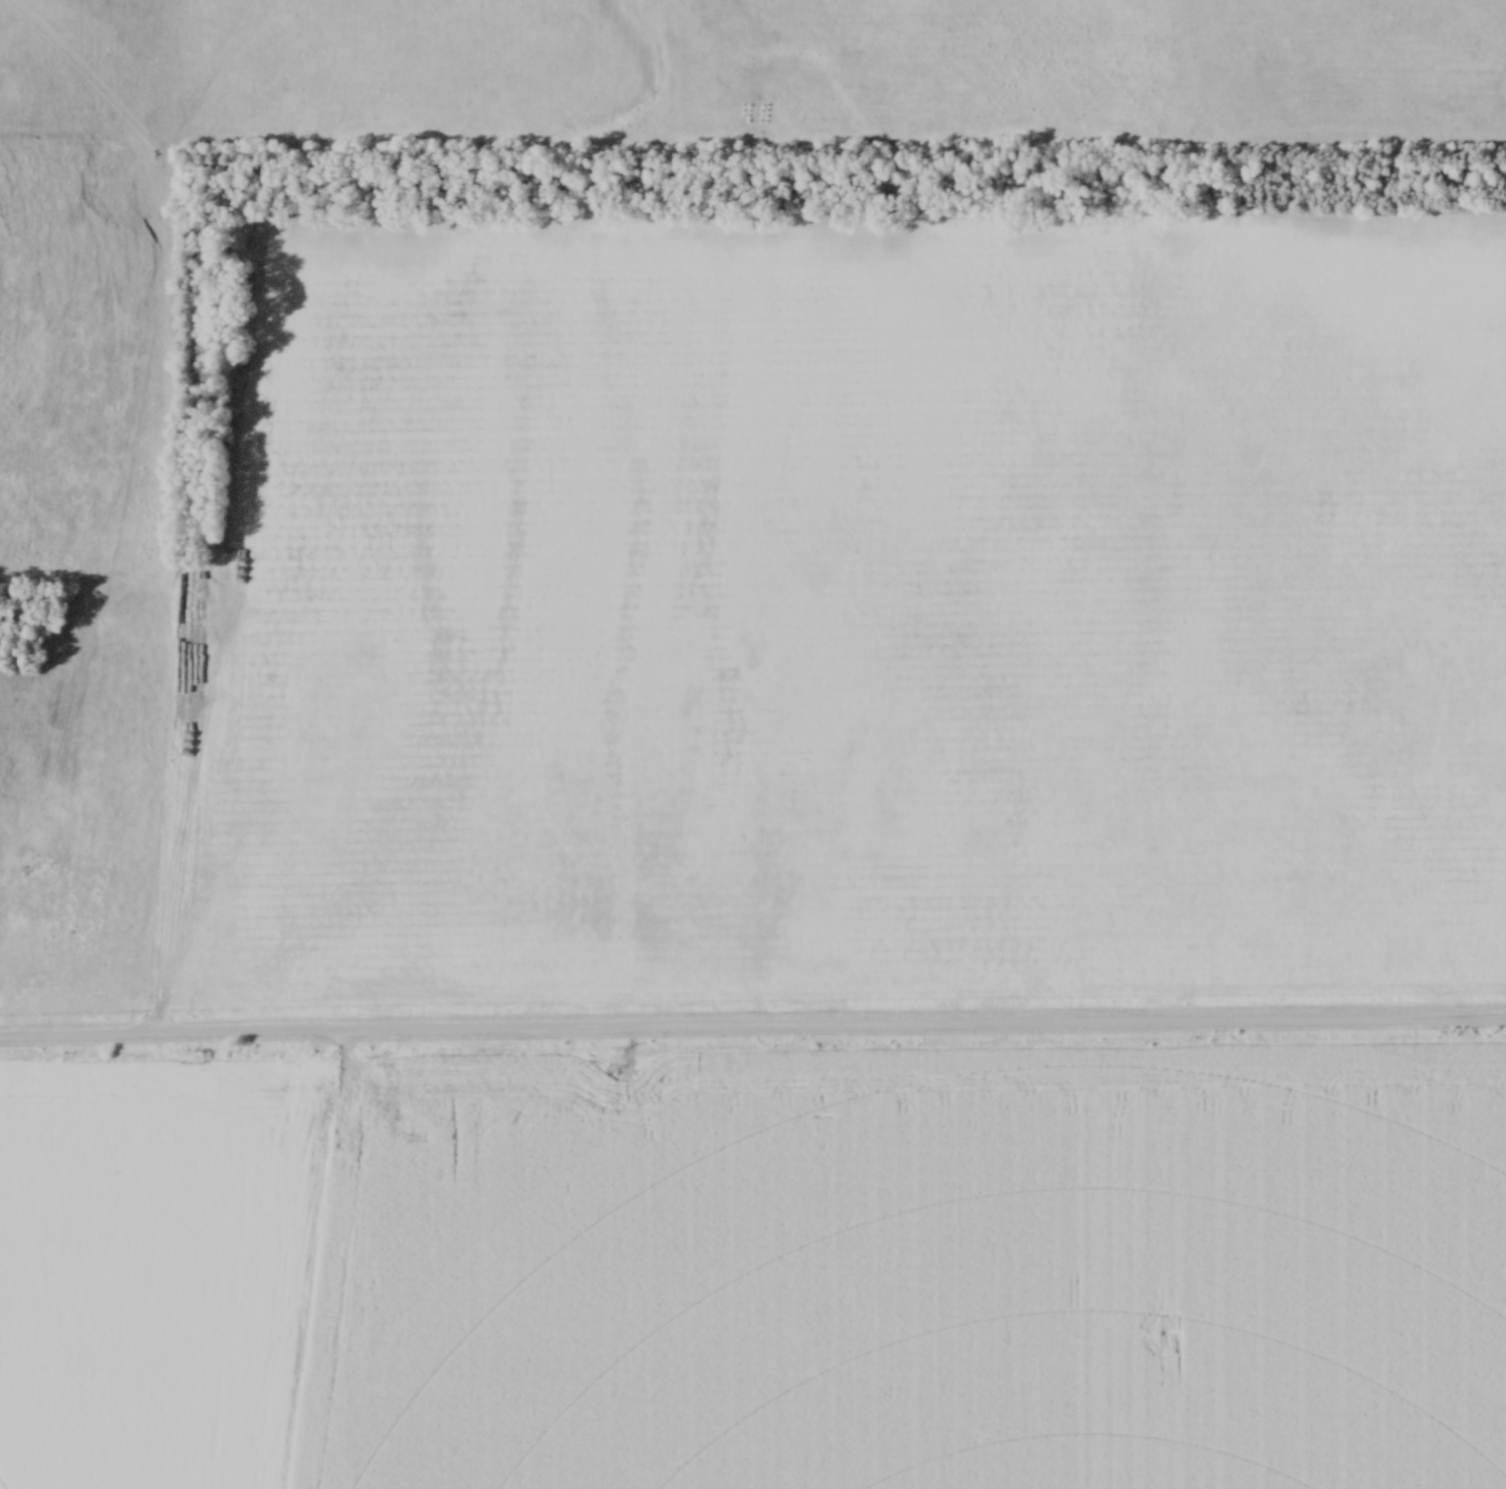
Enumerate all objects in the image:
road: (752, 1023)

